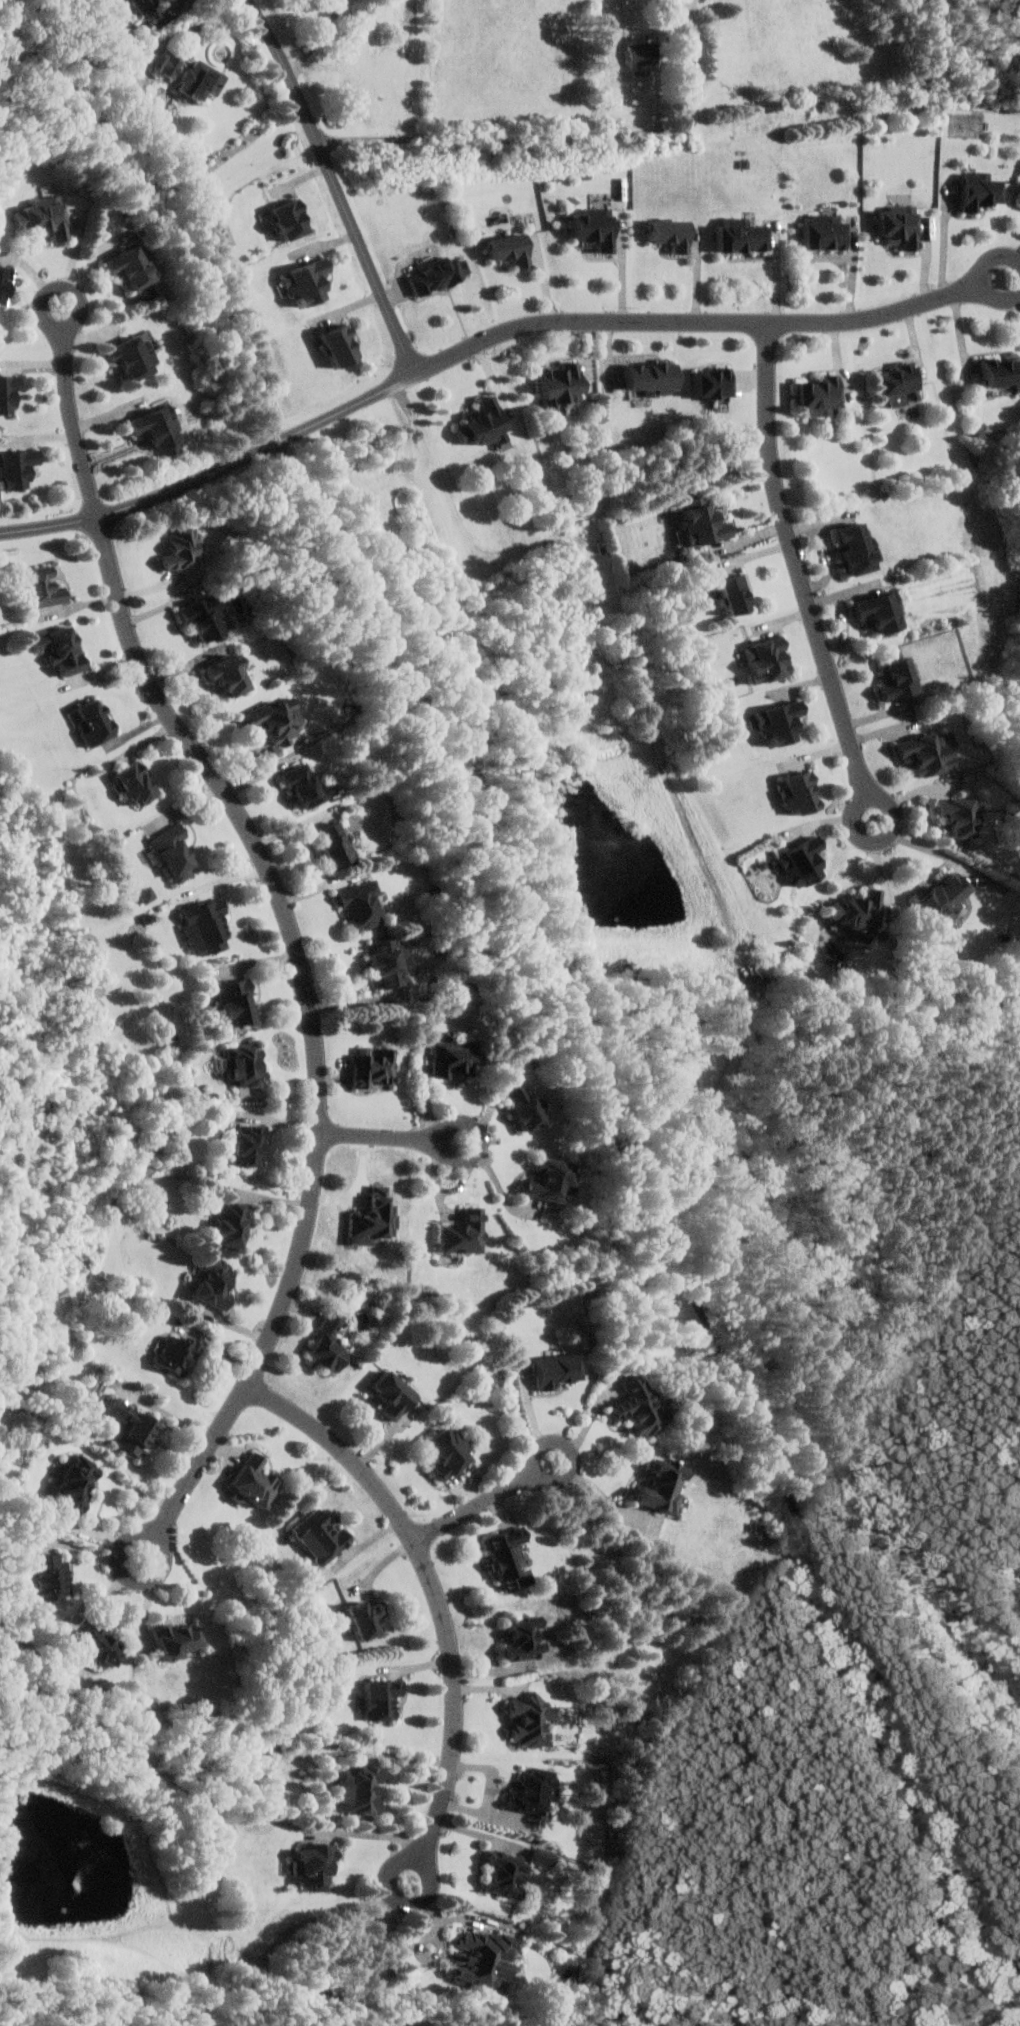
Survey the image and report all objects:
building: (145, 5)
road: (318, 40)
building: (642, 53)
building: (193, 77)
road: (514, 138)
road: (335, 184)
building: (981, 189)
building: (46, 217)
building: (290, 217)
building: (901, 225)
building: (596, 226)
building: (498, 229)
building: (826, 231)
building: (672, 232)
road: (947, 245)
building: (129, 265)
building: (440, 274)
road: (987, 275)
building: (306, 280)
building: (4, 281)
road: (1018, 296)
road: (698, 325)
building: (339, 343)
building: (133, 356)
road: (67, 361)
building: (1002, 370)
building: (651, 376)
building: (714, 381)
building: (898, 382)
building: (561, 384)
building: (8, 392)
building: (820, 394)
building: (485, 422)
building: (157, 429)
road: (280, 439)
building: (17, 467)
road: (75, 524)
building: (704, 524)
building: (183, 547)
building: (858, 548)
road: (804, 576)
building: (43, 587)
building: (736, 593)
building: (881, 611)
building: (203, 616)
building: (62, 647)
road: (377, 657)
building: (768, 660)
building: (229, 674)
building: (899, 678)
building: (275, 719)
building: (94, 721)
building: (781, 721)
building: (929, 752)
building: (136, 783)
building: (306, 785)
building: (801, 792)
building: (960, 815)
road: (830, 819)
building: (337, 843)
road: (928, 847)
building: (175, 852)
building: (804, 860)
building: (944, 897)
building: (361, 904)
building: (860, 913)
building: (207, 925)
building: (388, 962)
building: (236, 1002)
road: (317, 1034)
building: (454, 1058)
building: (245, 1065)
building: (374, 1066)
building: (525, 1106)
road: (494, 1108)
road: (392, 1137)
building: (250, 1145)
building: (551, 1180)
building: (232, 1224)
building: (465, 1233)
road: (866, 1260)
building: (215, 1282)
building: (329, 1342)
building: (177, 1354)
building: (558, 1370)
building: (394, 1394)
building: (641, 1408)
road: (171, 1414)
road: (589, 1425)
building: (132, 1427)
building: (449, 1453)
building: (77, 1482)
building: (254, 1482)
building: (663, 1488)
road: (486, 1499)
building: (321, 1537)
road: (90, 1552)
building: (51, 1577)
road: (106, 1593)
road: (437, 1598)
road: (149, 1603)
building: (368, 1618)
road: (862, 1635)
building: (524, 1637)
building: (178, 1640)
building: (101, 1644)
building: (382, 1699)
building: (534, 1720)
building: (361, 1790)
road: (492, 1791)
building: (534, 1792)
building: (316, 1866)
building: (508, 1872)
road: (443, 1918)
building: (488, 1957)
road: (966, 1992)

